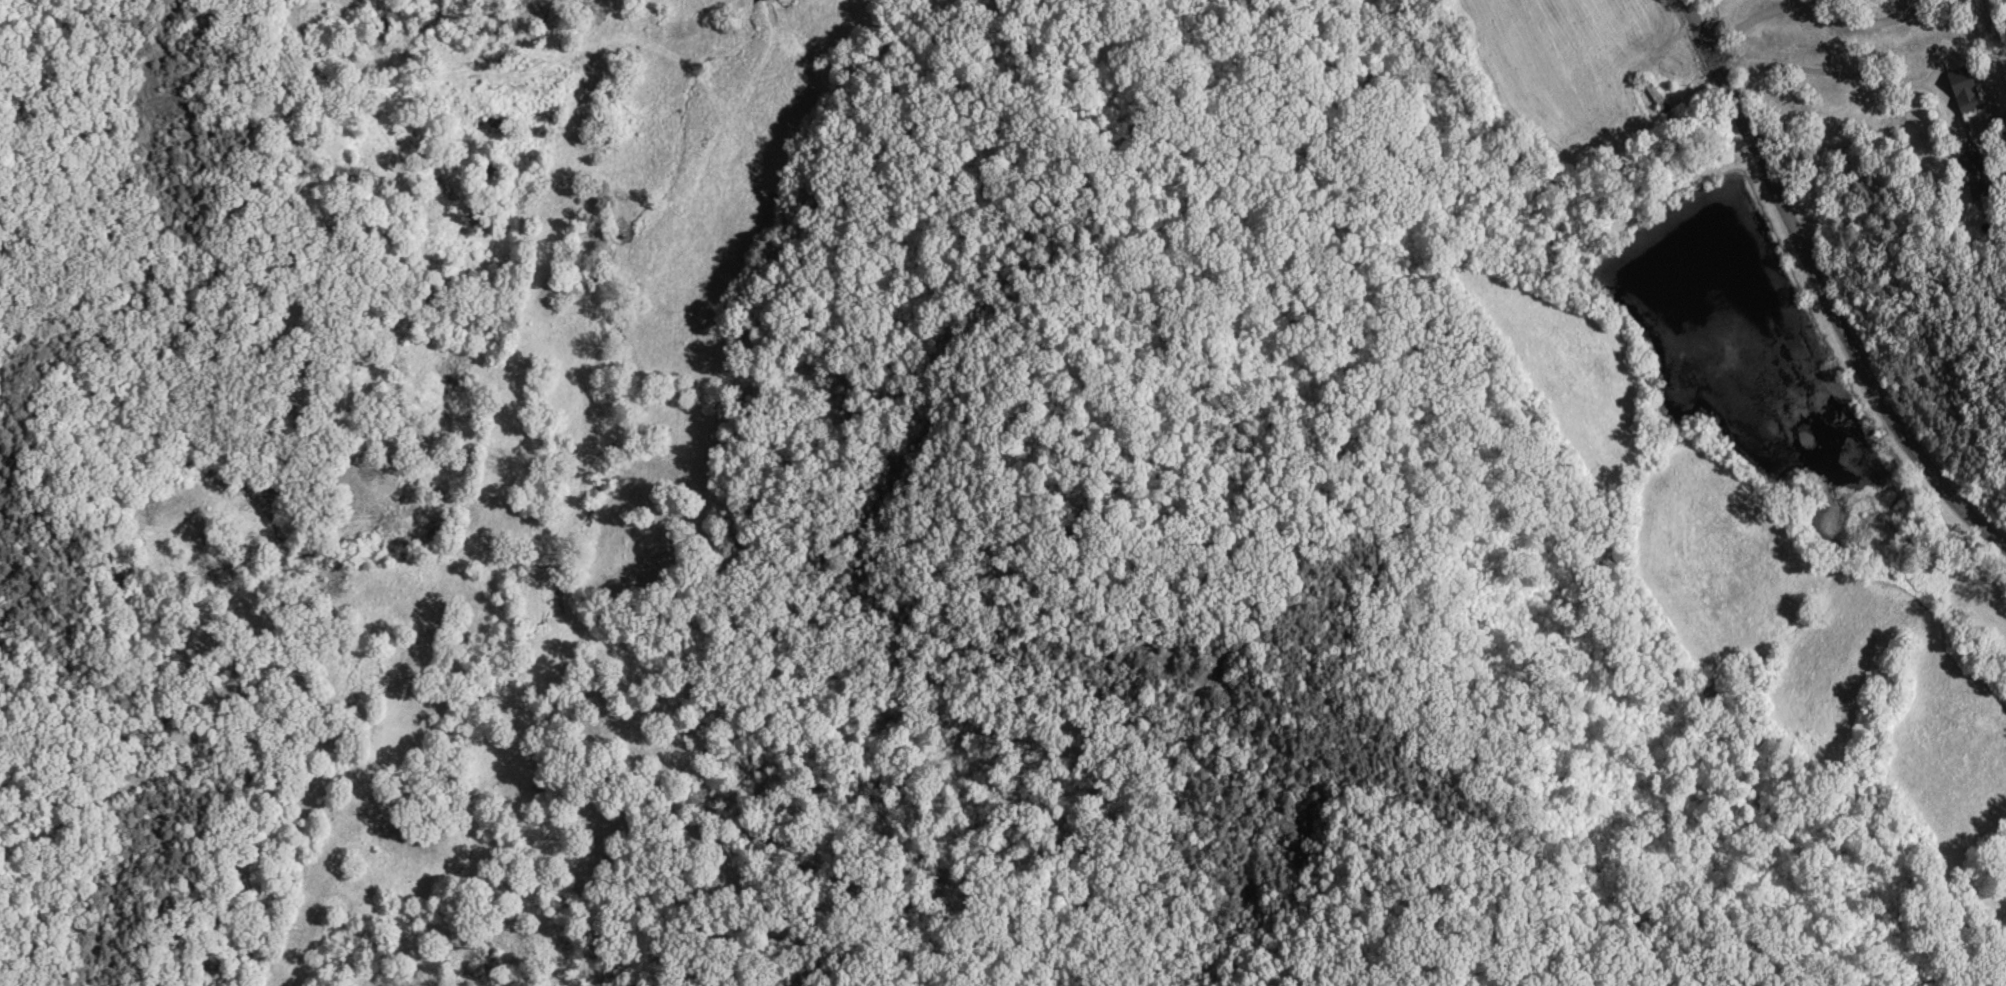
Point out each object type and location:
road: (1813, 12)
road: (1897, 81)
building: (1965, 97)
building: (1654, 98)
building: (1974, 172)
road: (1826, 287)

